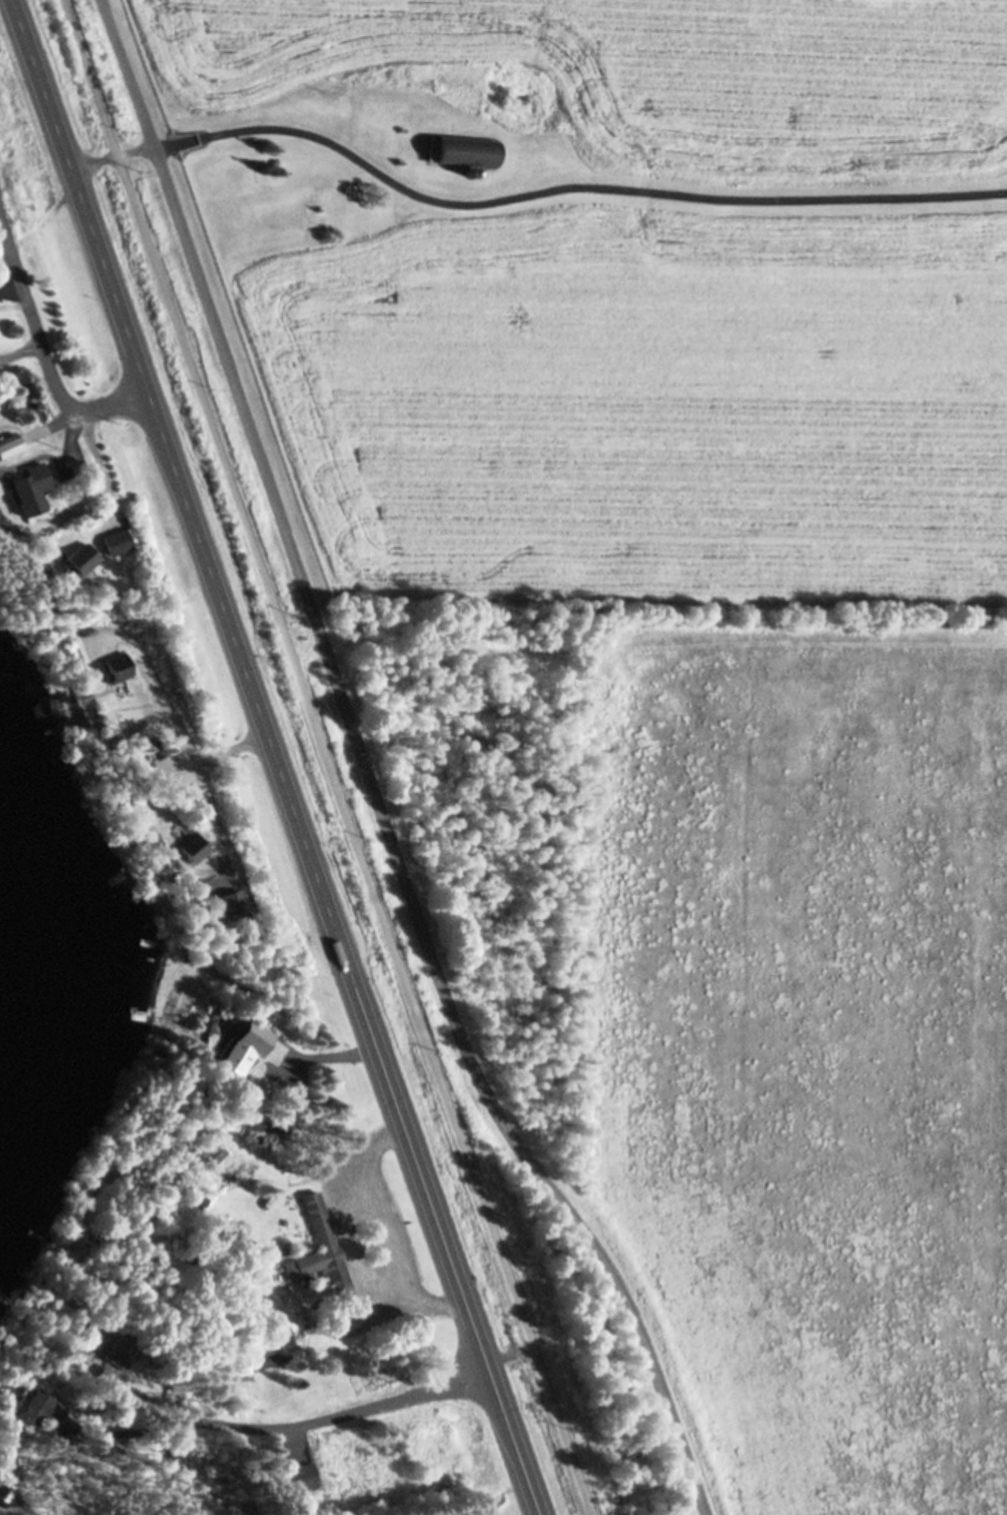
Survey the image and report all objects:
building: (465, 150)
building: (470, 170)
road: (526, 195)
road: (47, 364)
building: (46, 438)
building: (54, 442)
building: (9, 445)
building: (29, 488)
building: (82, 559)
road: (326, 757)
road: (272, 758)
road: (369, 774)
building: (194, 846)
building: (178, 874)
building: (241, 1046)
building: (243, 1097)
building: (264, 1124)
building: (212, 1151)
building: (195, 1197)
building: (94, 1226)
building: (325, 1256)
building: (282, 1335)
building: (114, 1349)
building: (274, 1356)
building: (108, 1370)
building: (18, 1385)
building: (41, 1406)
road: (315, 1422)
building: (301, 1473)
building: (2, 1487)

